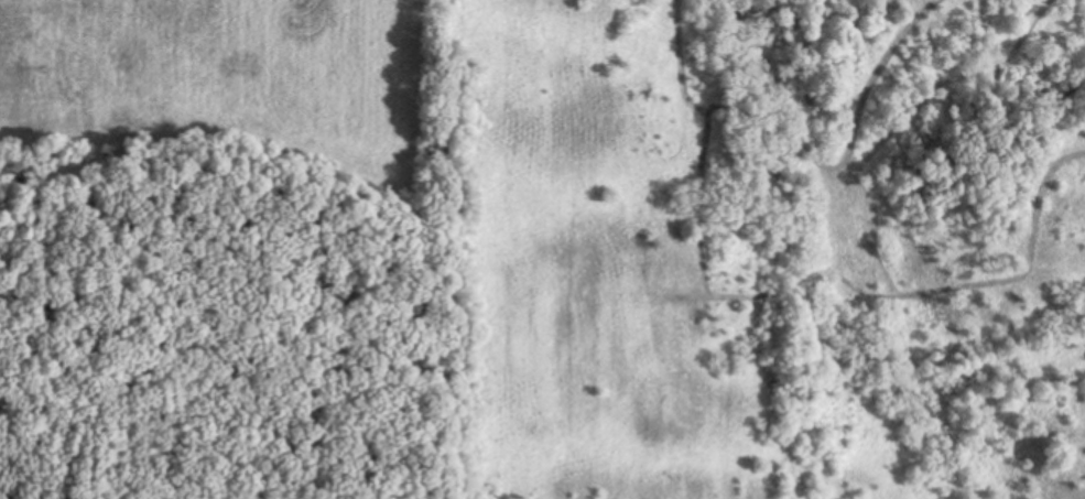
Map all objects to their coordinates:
crop: (214, 80)

